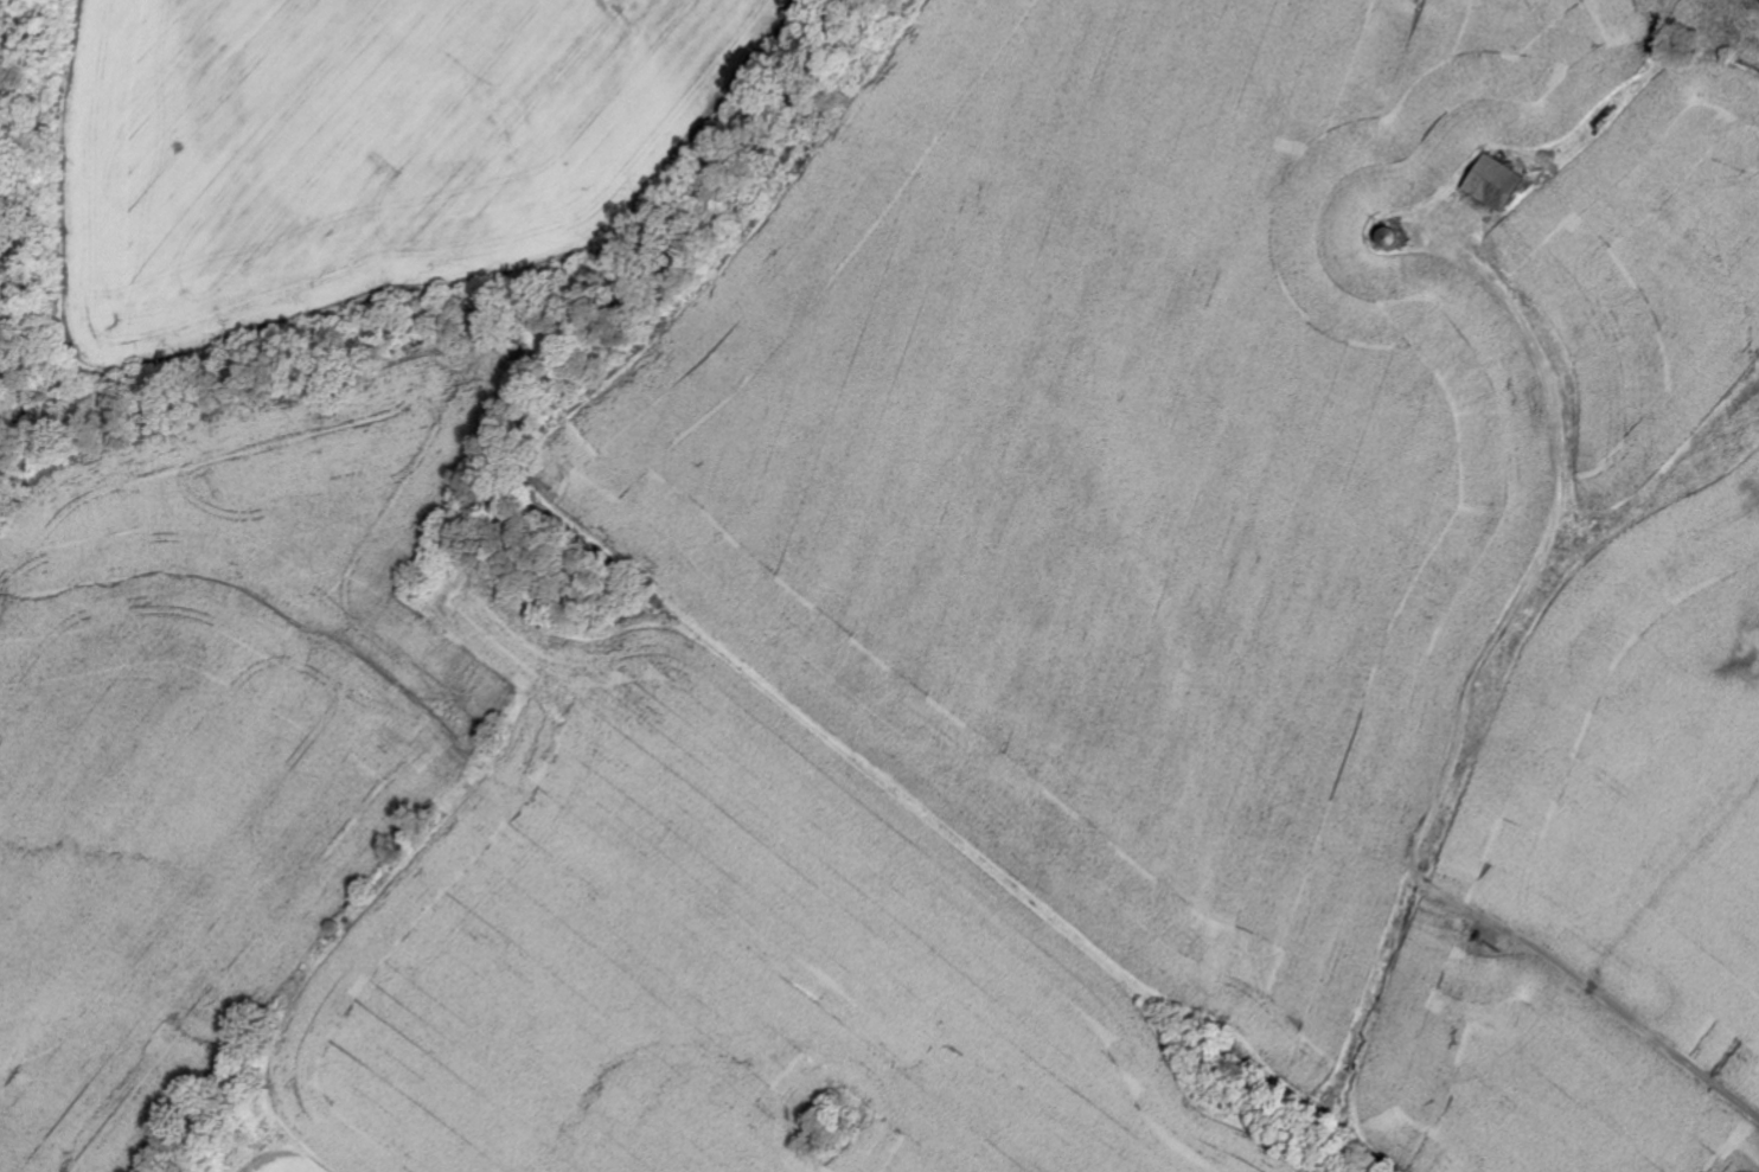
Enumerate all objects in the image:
building: (1758, 2)
building: (1495, 184)
road: (1633, 1023)

